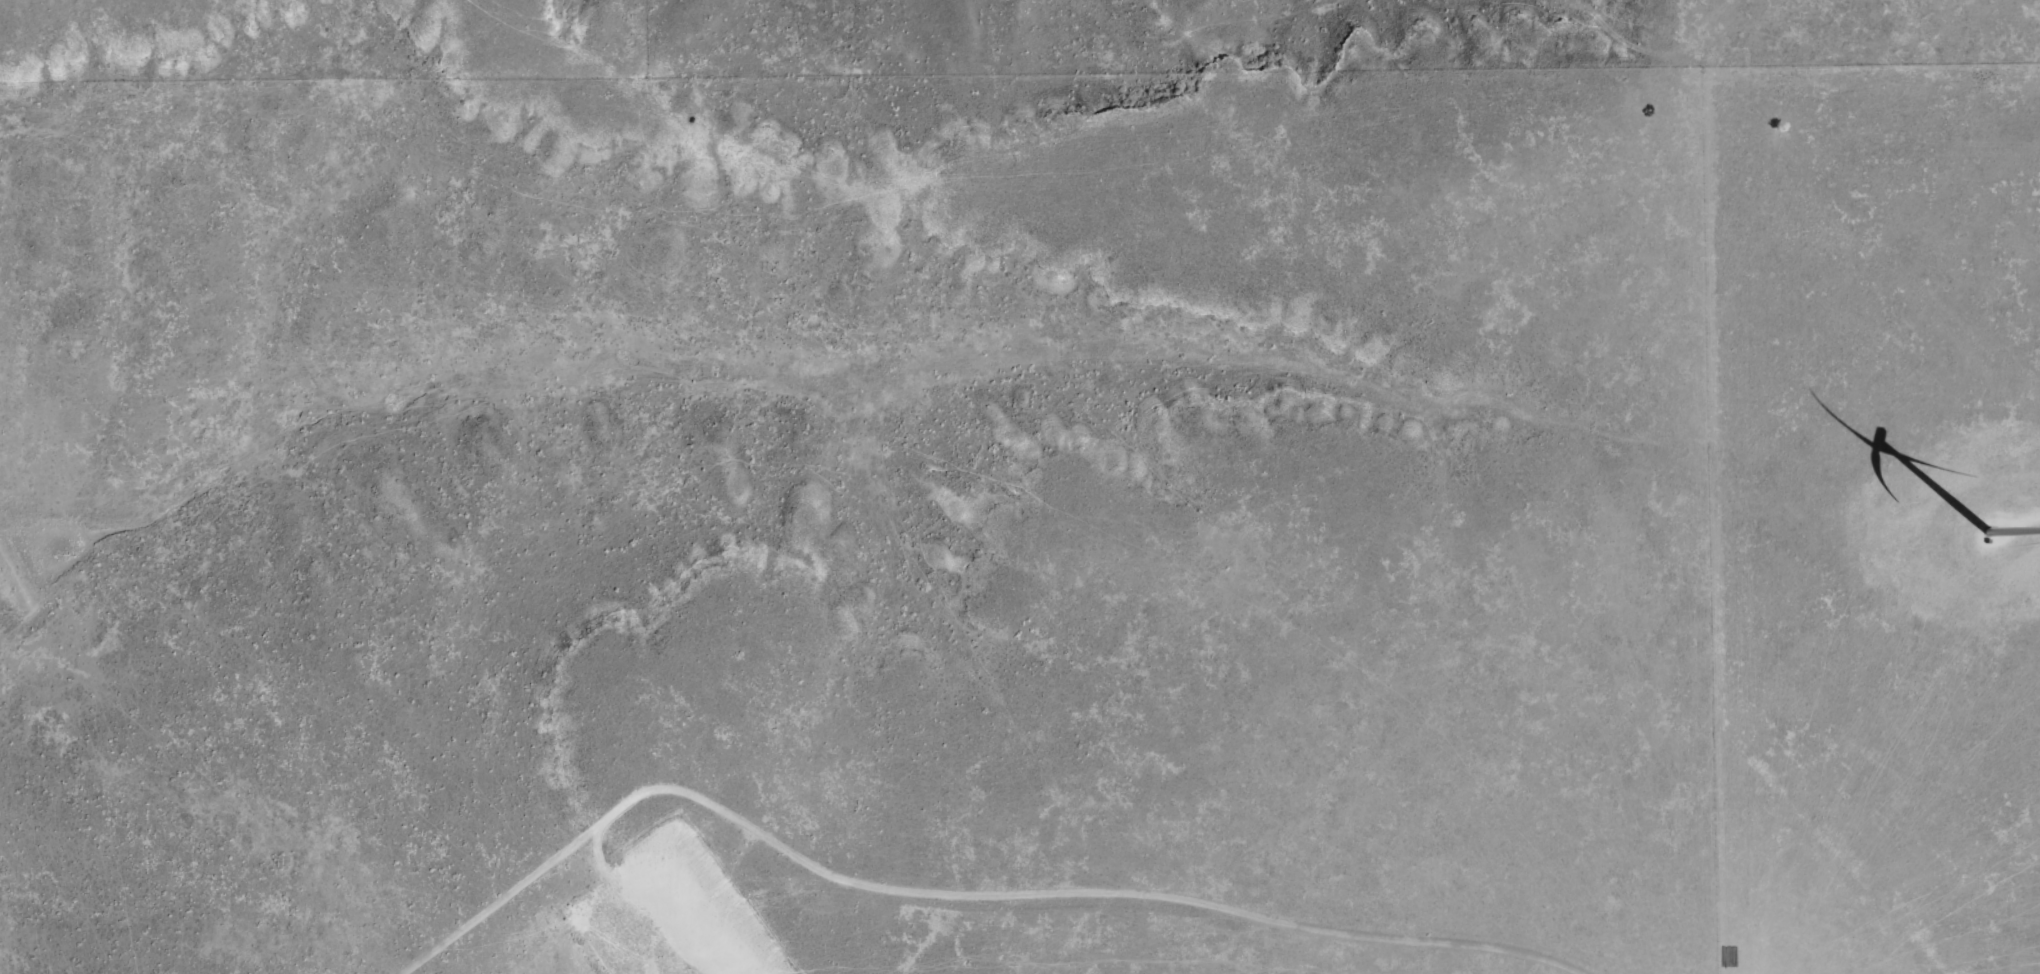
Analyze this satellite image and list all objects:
wind turbine: (1987, 534)

